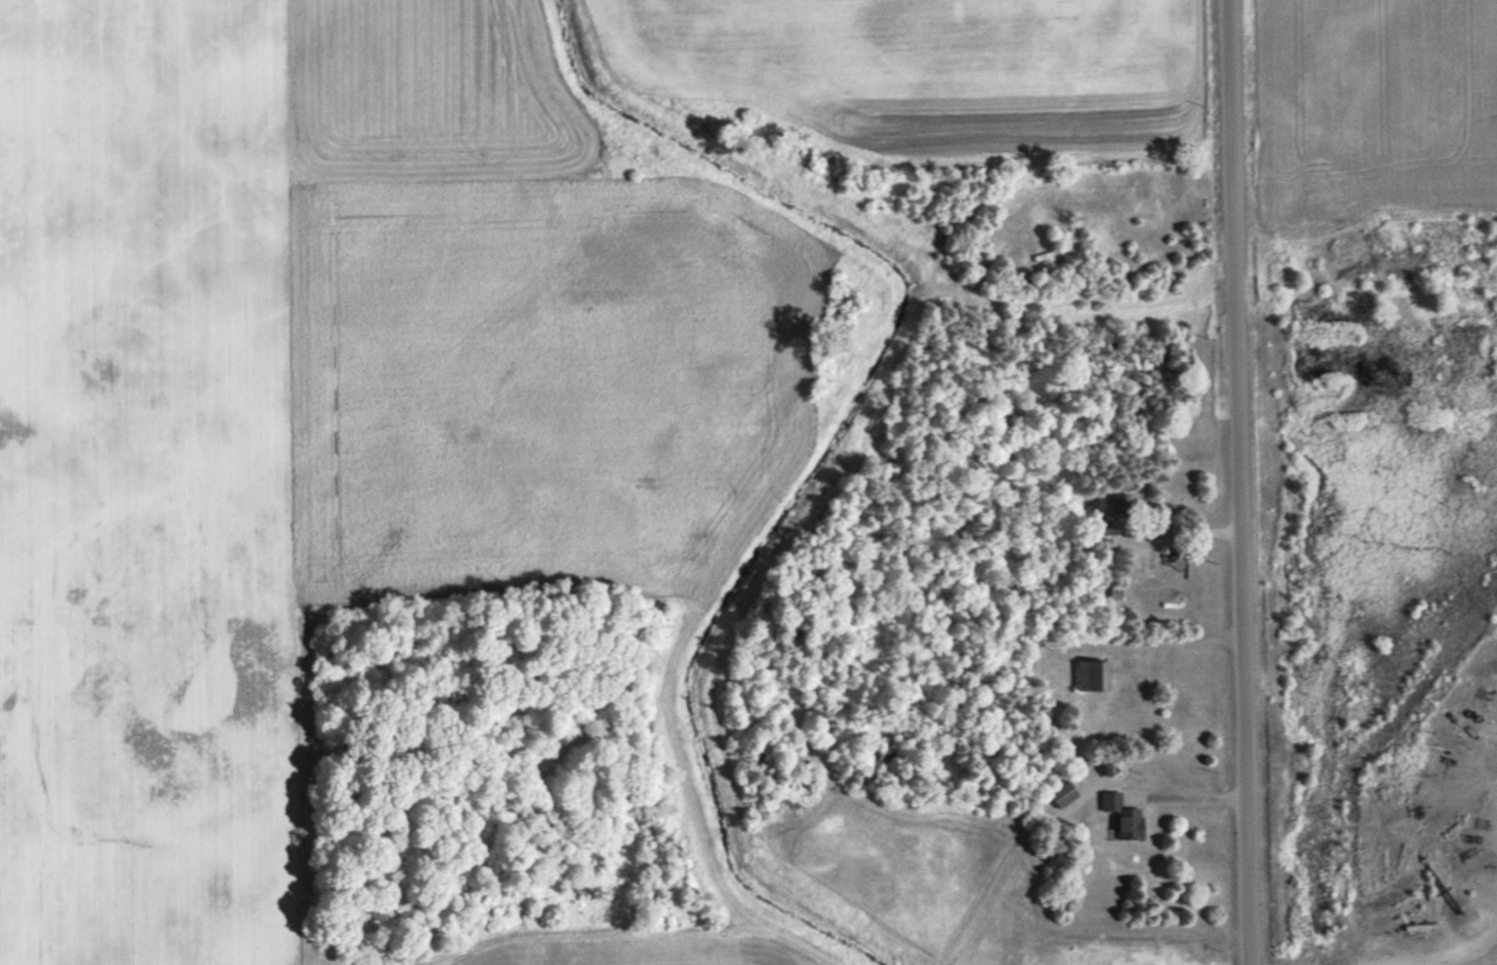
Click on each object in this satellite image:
road: (1237, 482)
building: (1096, 525)
building: (1081, 674)
building: (1058, 794)
building: (1117, 815)

